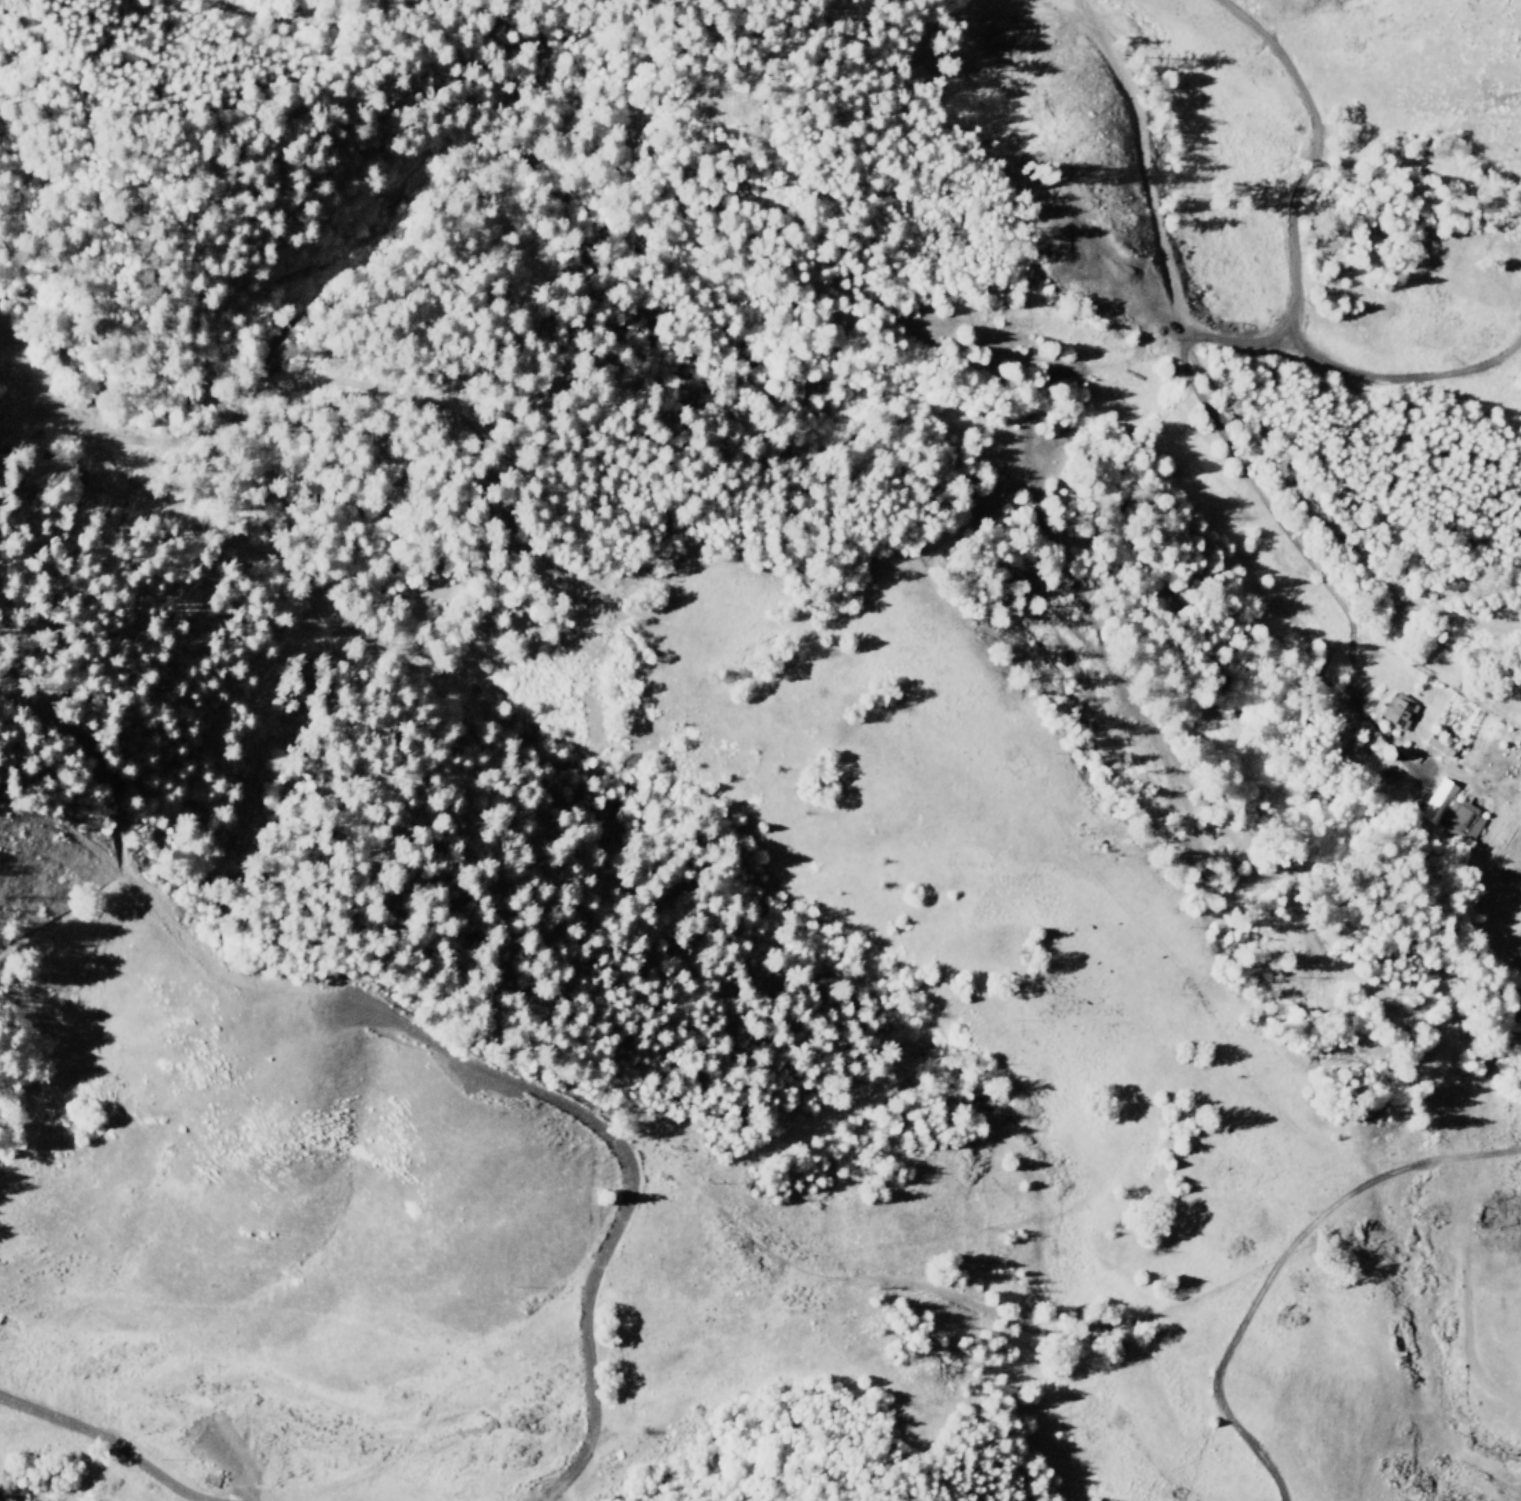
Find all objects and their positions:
road: (1290, 341)
building: (1394, 710)
building: (1437, 743)
building: (1434, 801)
building: (1460, 821)
road: (114, 1449)

